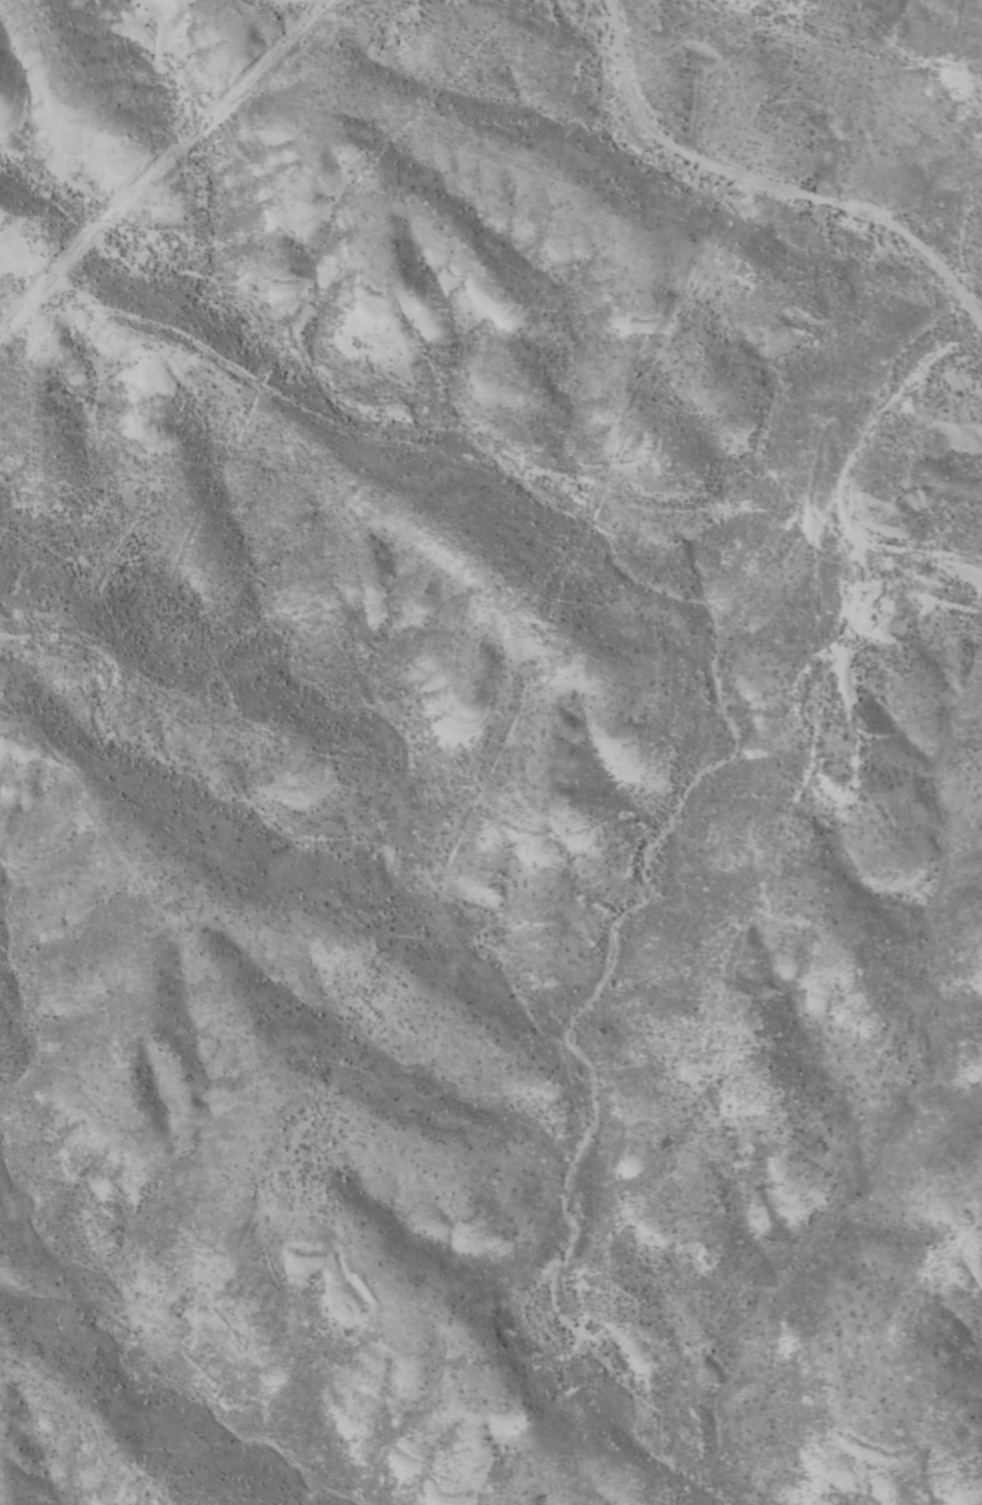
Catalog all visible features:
road: (730, 185)

